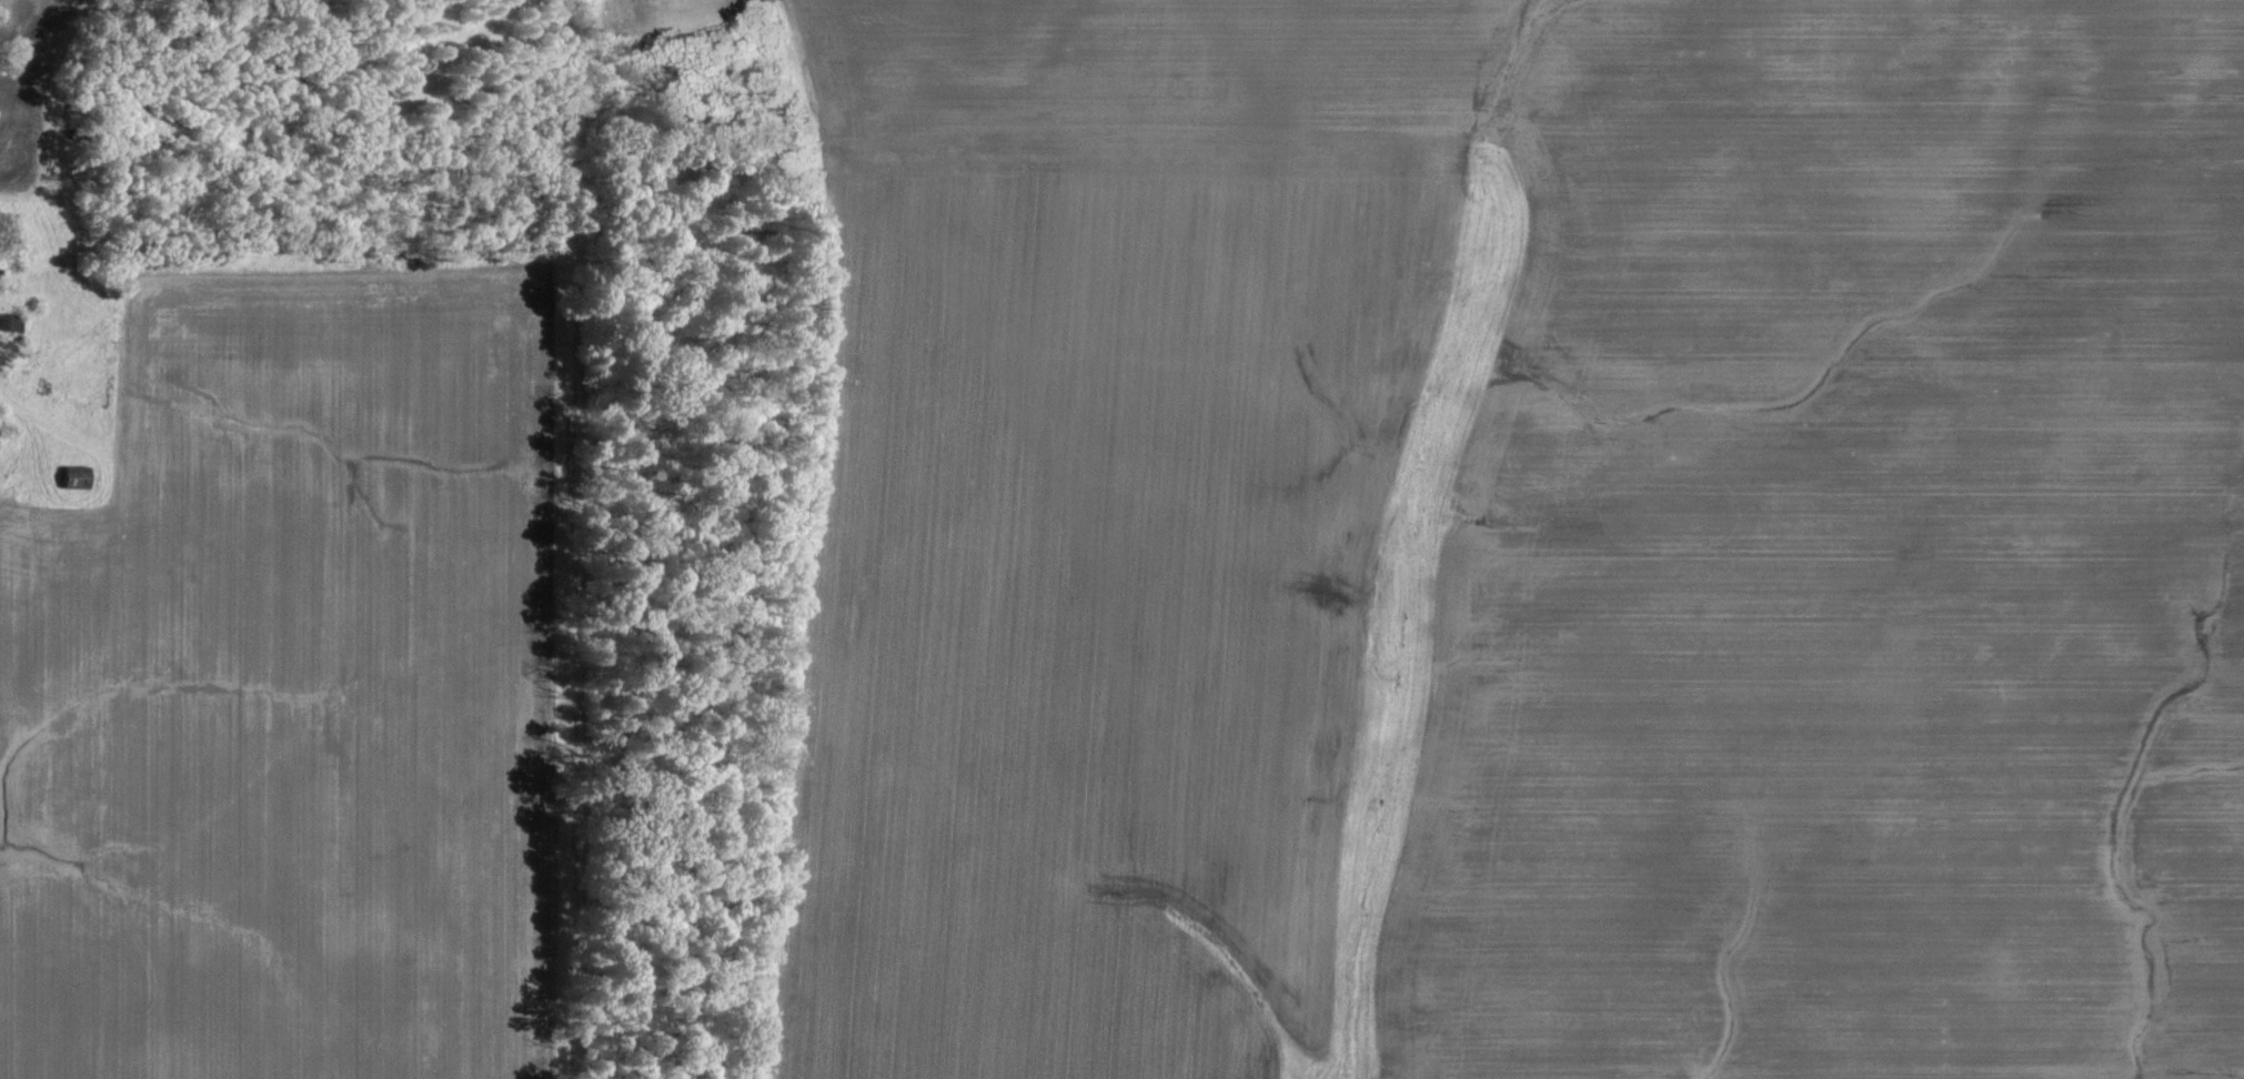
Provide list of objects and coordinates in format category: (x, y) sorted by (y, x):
building: (78, 477)

